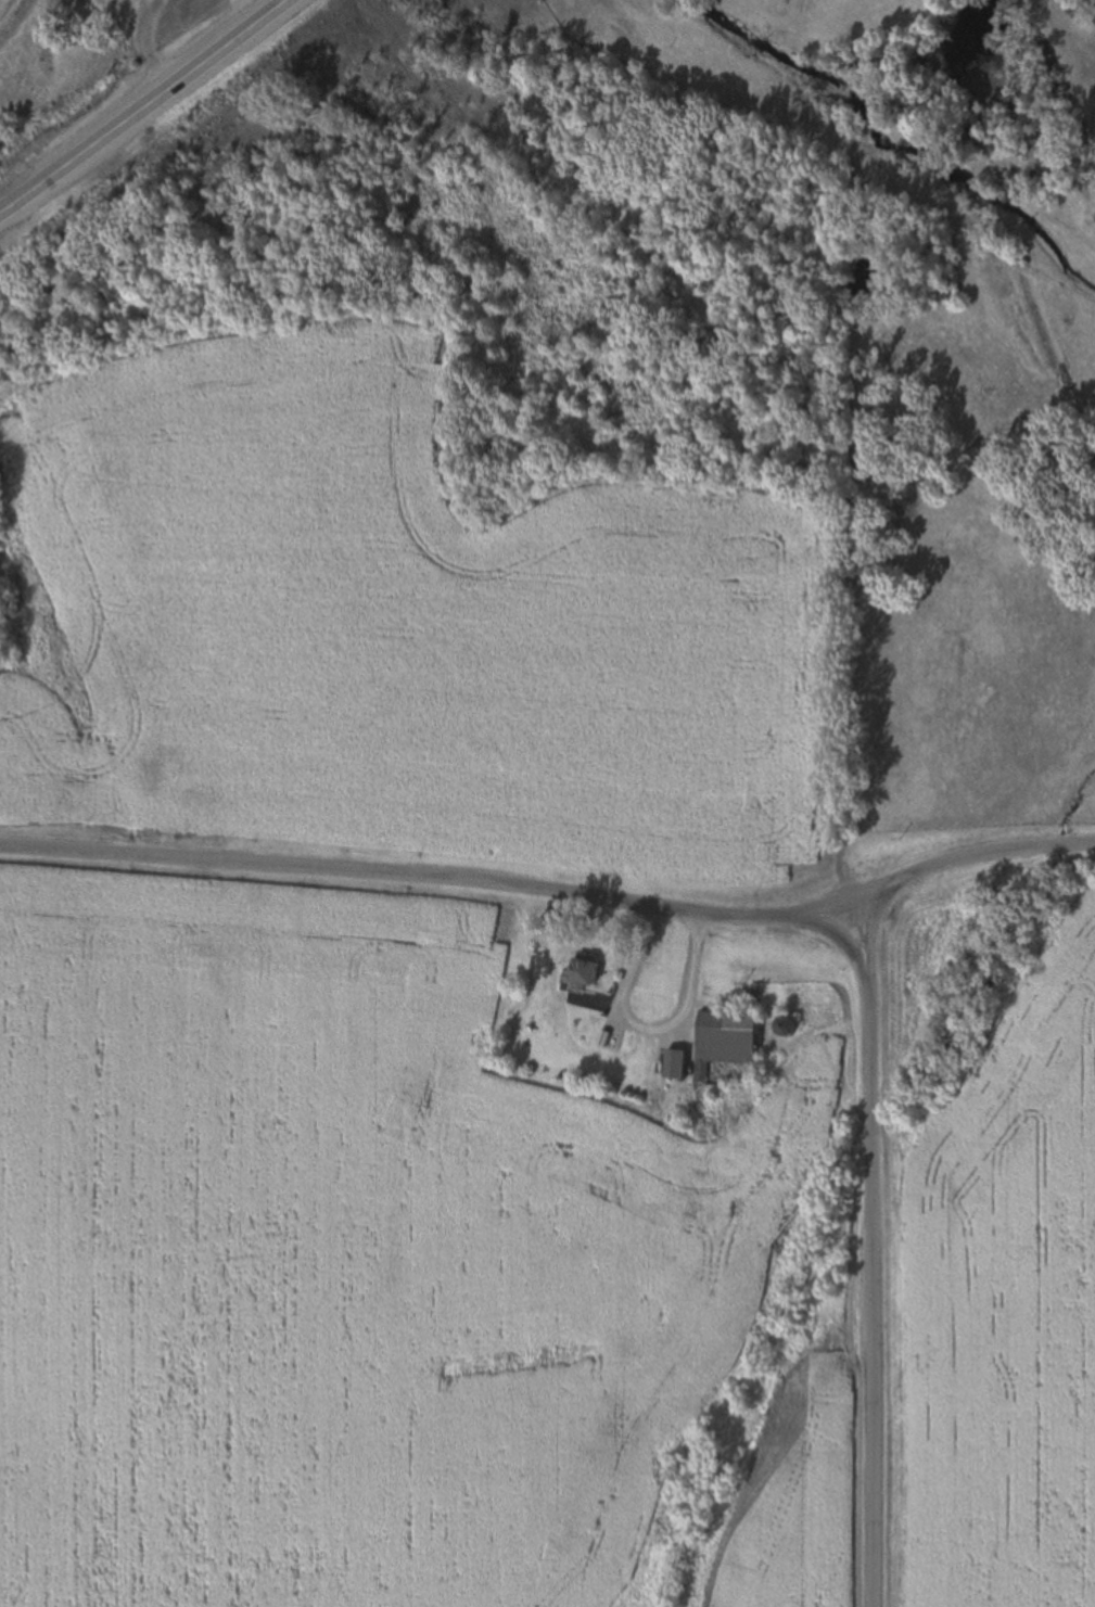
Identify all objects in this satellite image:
road: (1043, 11)
building: (1093, 20)
road: (144, 46)
road: (142, 106)
road: (756, 368)
road: (552, 890)
building: (584, 972)
building: (784, 1028)
building: (726, 1040)
building: (674, 1064)
road: (874, 1247)

